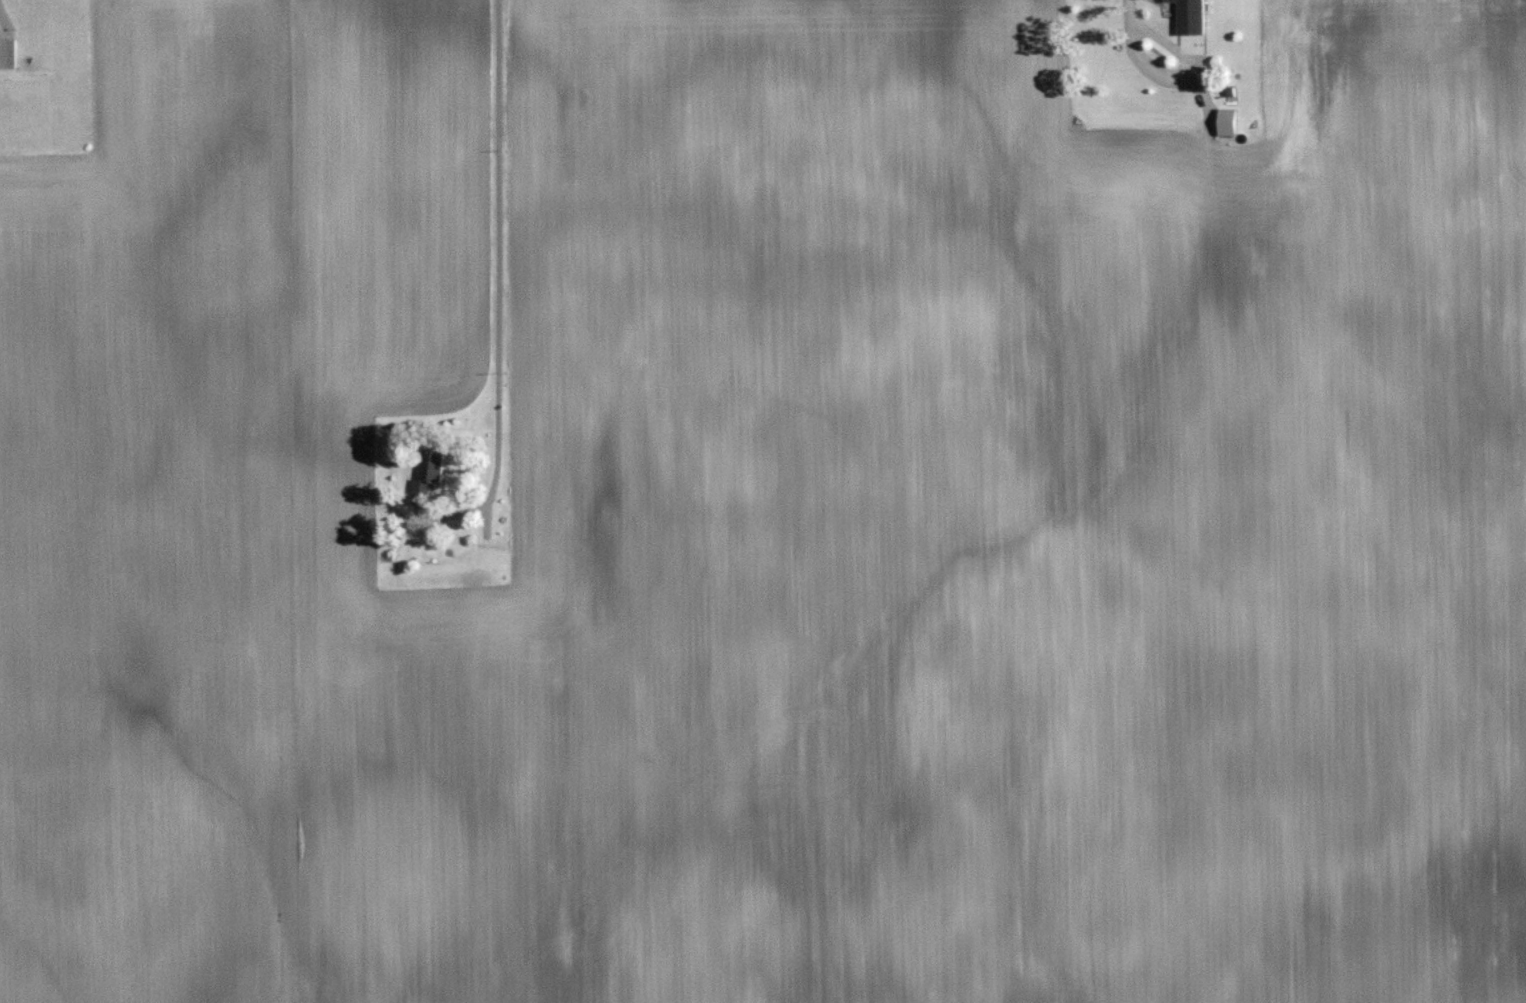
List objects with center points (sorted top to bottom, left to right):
building: (1186, 0)
road: (1131, 9)
building: (8, 55)
road: (1187, 67)
road: (497, 241)
building: (432, 472)

